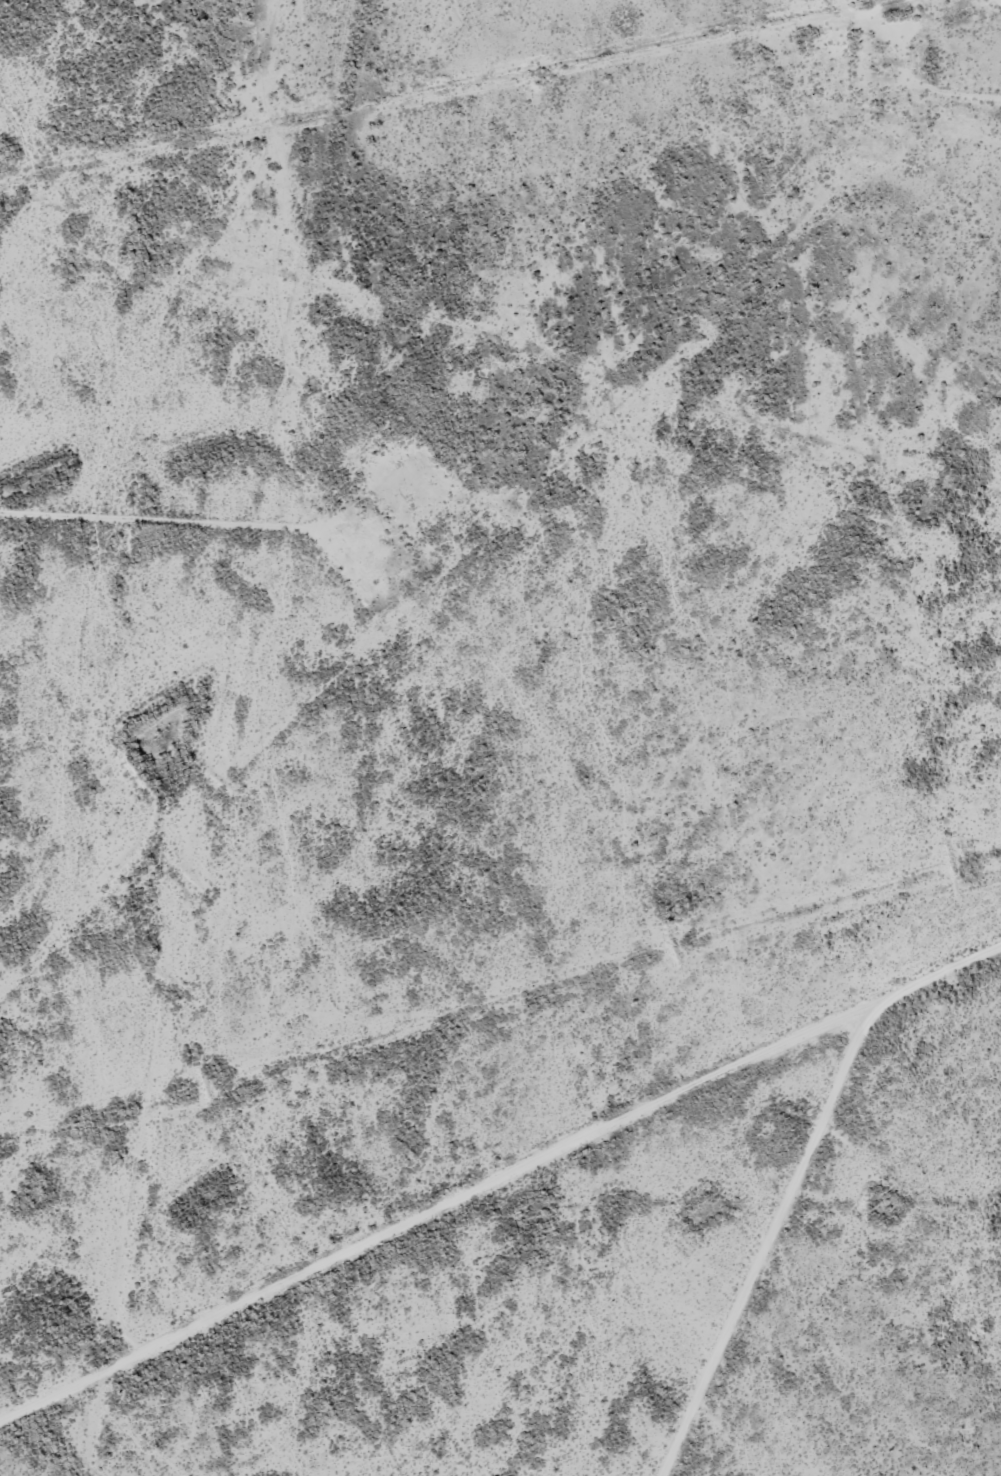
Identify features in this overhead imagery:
road: (495, 1188)

